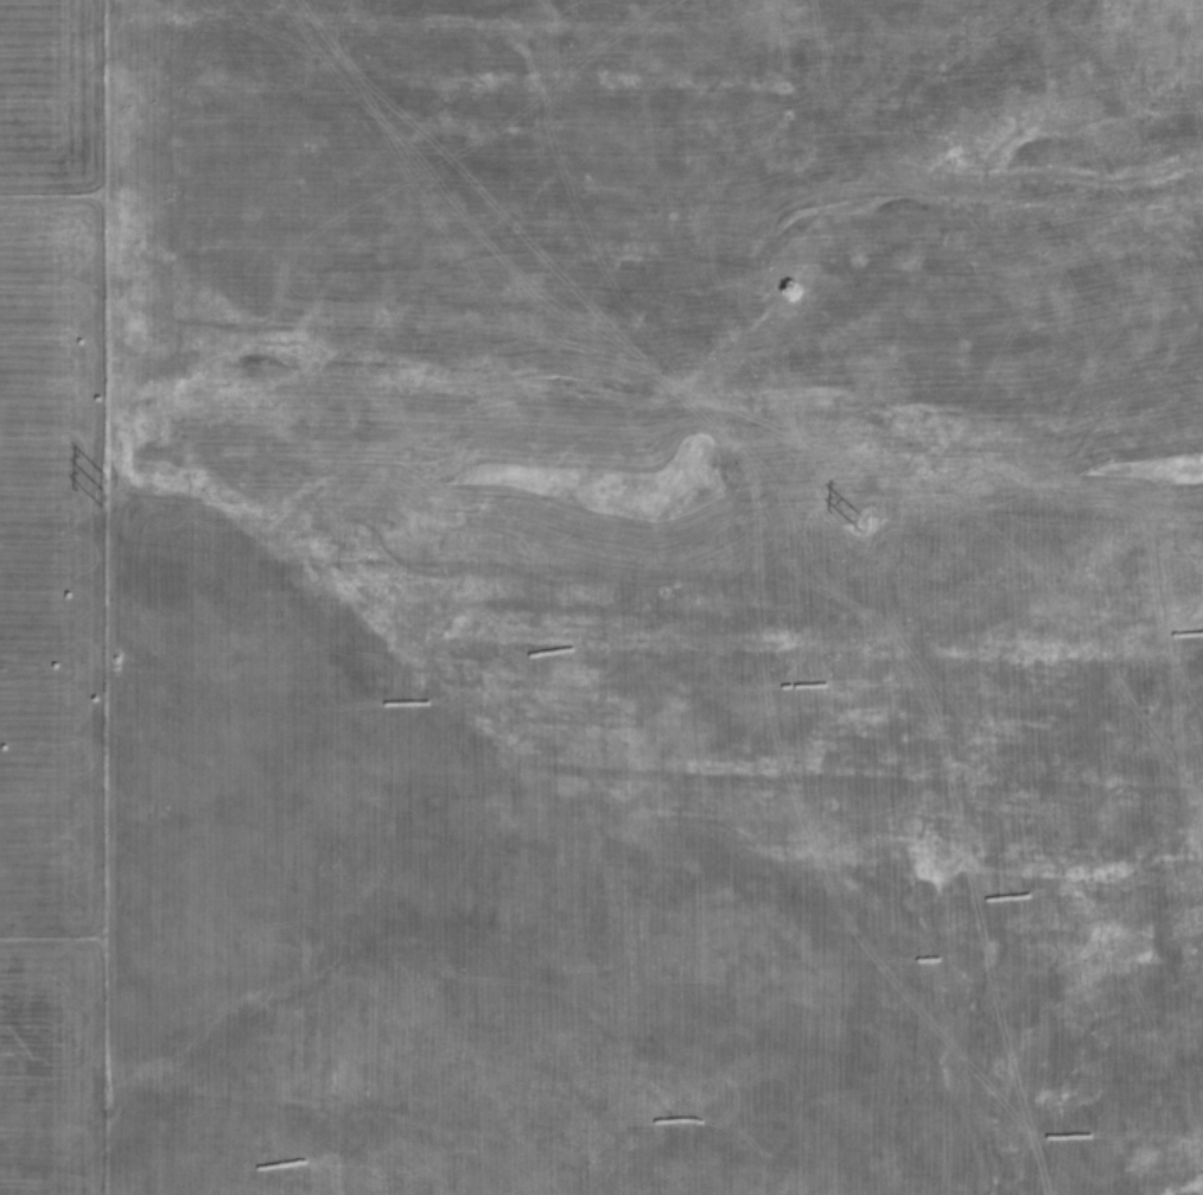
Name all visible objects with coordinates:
power tower: (102, 489)
power tower: (857, 523)

